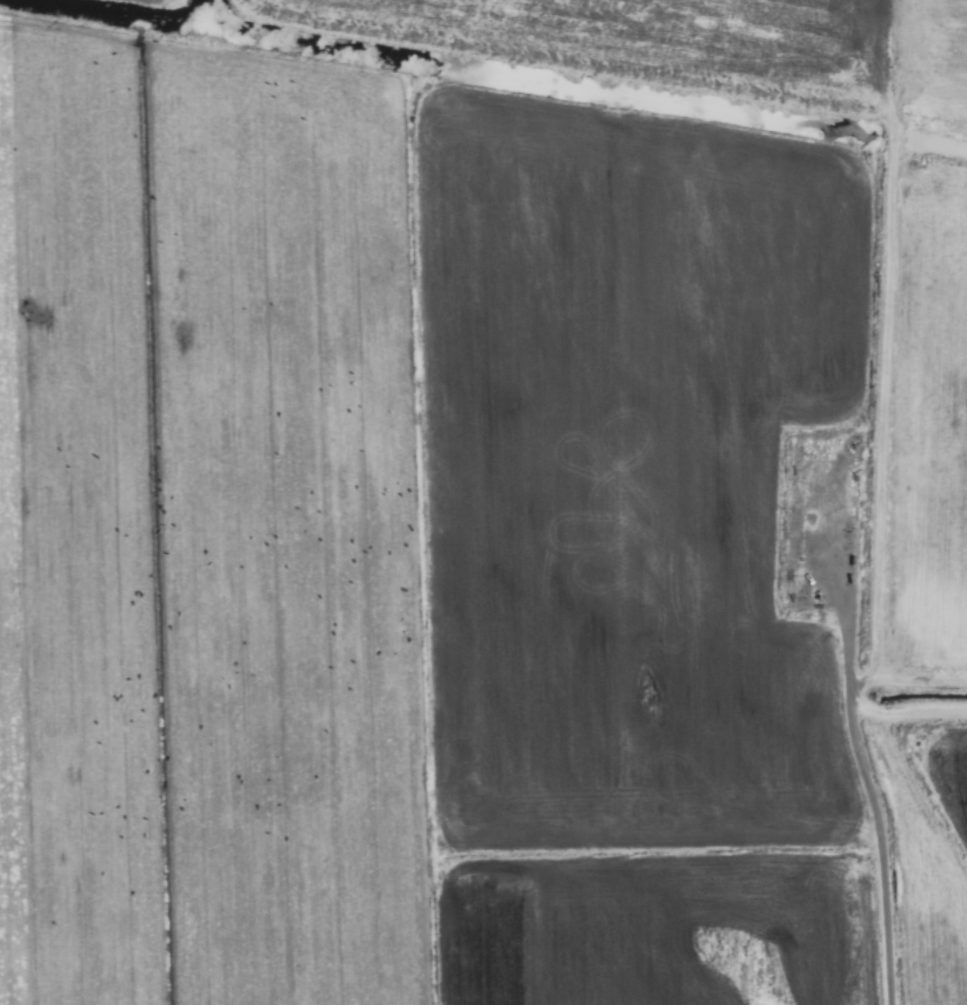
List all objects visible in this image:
crop: (483, 502)
road: (880, 848)

